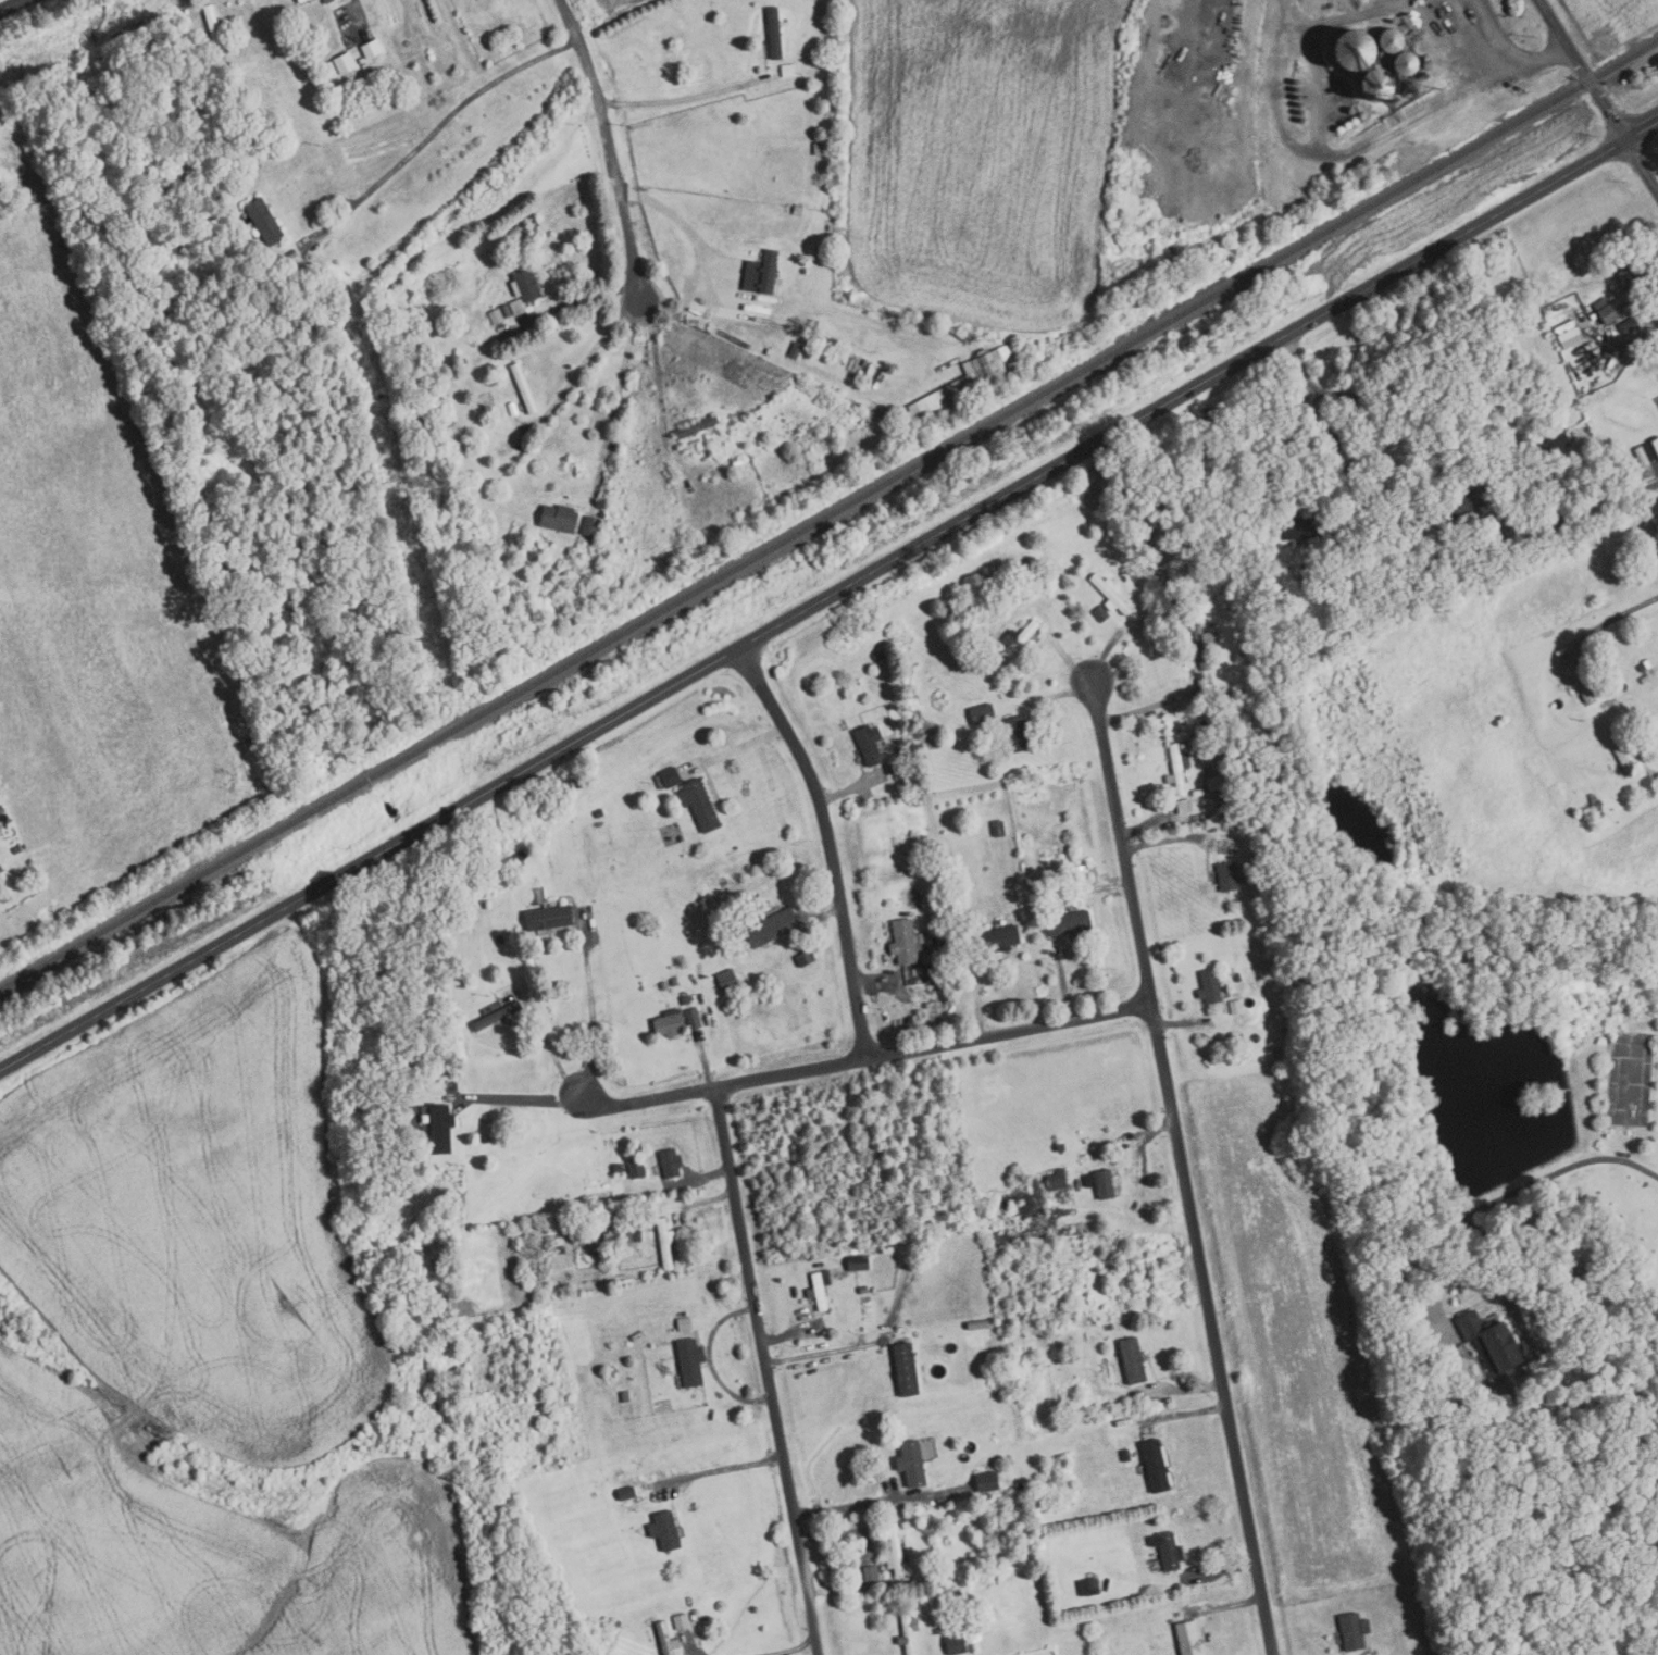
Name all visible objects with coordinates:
building: (301, 1)
building: (327, 1)
road: (13, 5)
road: (357, 10)
building: (212, 24)
building: (774, 34)
building: (1126, 39)
building: (1392, 40)
silo: (1392, 40)
building: (371, 48)
building: (1354, 50)
silo: (1354, 50)
road: (1509, 50)
building: (362, 61)
building: (345, 63)
building: (1406, 63)
silo: (1406, 63)
building: (365, 66)
building: (331, 70)
building: (789, 71)
building: (1297, 82)
silo: (1297, 82)
building: (1411, 82)
silo: (1411, 82)
building: (1375, 86)
silo: (1375, 86)
building: (1298, 89)
silo: (1298, 89)
building: (1418, 94)
silo: (1418, 94)
road: (1597, 94)
building: (1299, 97)
silo: (1299, 97)
road: (676, 100)
building: (1300, 104)
silo: (1300, 104)
building: (1301, 112)
silo: (1301, 112)
building: (1302, 120)
silo: (1302, 120)
road: (444, 121)
road: (610, 148)
building: (819, 149)
road: (1338, 154)
building: (798, 211)
building: (265, 221)
building: (534, 225)
building: (515, 233)
road: (698, 241)
building: (765, 273)
building: (1634, 273)
building: (526, 285)
building: (518, 308)
building: (507, 311)
building: (1606, 311)
building: (496, 316)
building: (815, 324)
building: (1629, 326)
building: (795, 350)
road: (588, 357)
building: (451, 361)
building: (1595, 362)
building: (435, 368)
building: (422, 370)
road: (658, 375)
building: (968, 381)
building: (524, 388)
road: (615, 397)
building: (1603, 397)
building: (894, 415)
road: (1291, 421)
building: (697, 427)
building: (1551, 443)
building: (1656, 444)
building: (1371, 449)
road: (1570, 449)
building: (1339, 459)
building: (737, 460)
building: (1499, 482)
building: (1469, 501)
road: (1592, 509)
railway: (828, 518)
building: (559, 519)
building: (593, 526)
building: (1300, 528)
building: (1653, 532)
building: (1334, 549)
building: (1648, 556)
building: (1608, 575)
building: (1111, 595)
road: (828, 597)
building: (544, 608)
road: (1617, 626)
building: (1019, 638)
building: (1202, 646)
road: (1060, 647)
road: (1108, 649)
building: (878, 655)
building: (1647, 663)
building: (1642, 668)
building: (1645, 680)
building: (1580, 681)
building: (1201, 687)
building: (1226, 692)
building: (1213, 694)
road: (1050, 695)
road: (1144, 710)
building: (983, 714)
building: (1019, 734)
building: (870, 744)
road: (735, 750)
building: (1622, 755)
building: (1179, 768)
building: (890, 770)
building: (668, 779)
building: (1216, 782)
road: (1656, 782)
road: (852, 788)
building: (699, 804)
building: (1596, 804)
building: (1184, 806)
building: (1, 809)
building: (600, 812)
building: (1604, 822)
road: (1146, 824)
building: (999, 829)
road: (1170, 841)
road: (828, 844)
building: (16, 849)
building: (518, 858)
building: (1081, 872)
building: (1229, 874)
building: (1294, 874)
building: (1056, 888)
building: (3, 892)
building: (769, 893)
building: (478, 901)
building: (548, 917)
road: (814, 917)
building: (1069, 922)
building: (772, 926)
building: (999, 936)
building: (499, 938)
building: (906, 941)
building: (968, 943)
building: (948, 945)
building: (806, 957)
building: (933, 971)
road: (881, 974)
building: (1238, 975)
building: (727, 980)
building: (674, 981)
road: (1063, 982)
building: (1210, 986)
building: (922, 988)
road: (978, 995)
building: (685, 999)
road: (593, 1006)
building: (1236, 1006)
building: (497, 1015)
building: (694, 1019)
building: (670, 1023)
road: (1186, 1023)
road: (550, 1046)
road: (934, 1046)
road: (708, 1061)
building: (456, 1085)
road: (522, 1100)
road: (649, 1100)
building: (440, 1127)
building: (487, 1138)
building: (1083, 1141)
road: (1144, 1141)
building: (1061, 1146)
road: (727, 1154)
building: (671, 1162)
road: (1182, 1166)
building: (619, 1167)
building: (637, 1168)
road: (1566, 1168)
road: (709, 1174)
building: (1057, 1179)
building: (1101, 1182)
building: (603, 1200)
road: (710, 1200)
road: (1470, 1215)
building: (635, 1235)
building: (587, 1241)
building: (665, 1242)
building: (562, 1249)
building: (593, 1249)
road: (1463, 1250)
building: (859, 1262)
building: (1125, 1277)
building: (819, 1289)
building: (862, 1289)
building: (978, 1324)
road: (791, 1334)
building: (1495, 1347)
road: (827, 1352)
building: (1132, 1358)
building: (690, 1361)
road: (711, 1361)
building: (906, 1370)
road: (1187, 1389)
building: (625, 1395)
road: (1183, 1413)
road: (780, 1438)
building: (1126, 1455)
building: (912, 1463)
building: (1157, 1466)
road: (725, 1468)
building: (988, 1481)
road: (882, 1502)
building: (635, 1506)
building: (953, 1511)
building: (665, 1530)
building: (1170, 1551)
building: (895, 1552)
road: (1219, 1570)
building: (872, 1572)
building: (1090, 1585)
building: (1424, 1606)
road: (1222, 1607)
building: (682, 1621)
building: (1023, 1621)
building: (956, 1625)
building: (908, 1629)
building: (1352, 1631)
building: (1188, 1638)
building: (666, 1639)
building: (956, 1644)
road: (803, 1651)
road: (697, 1652)
building: (1100, 1654)

